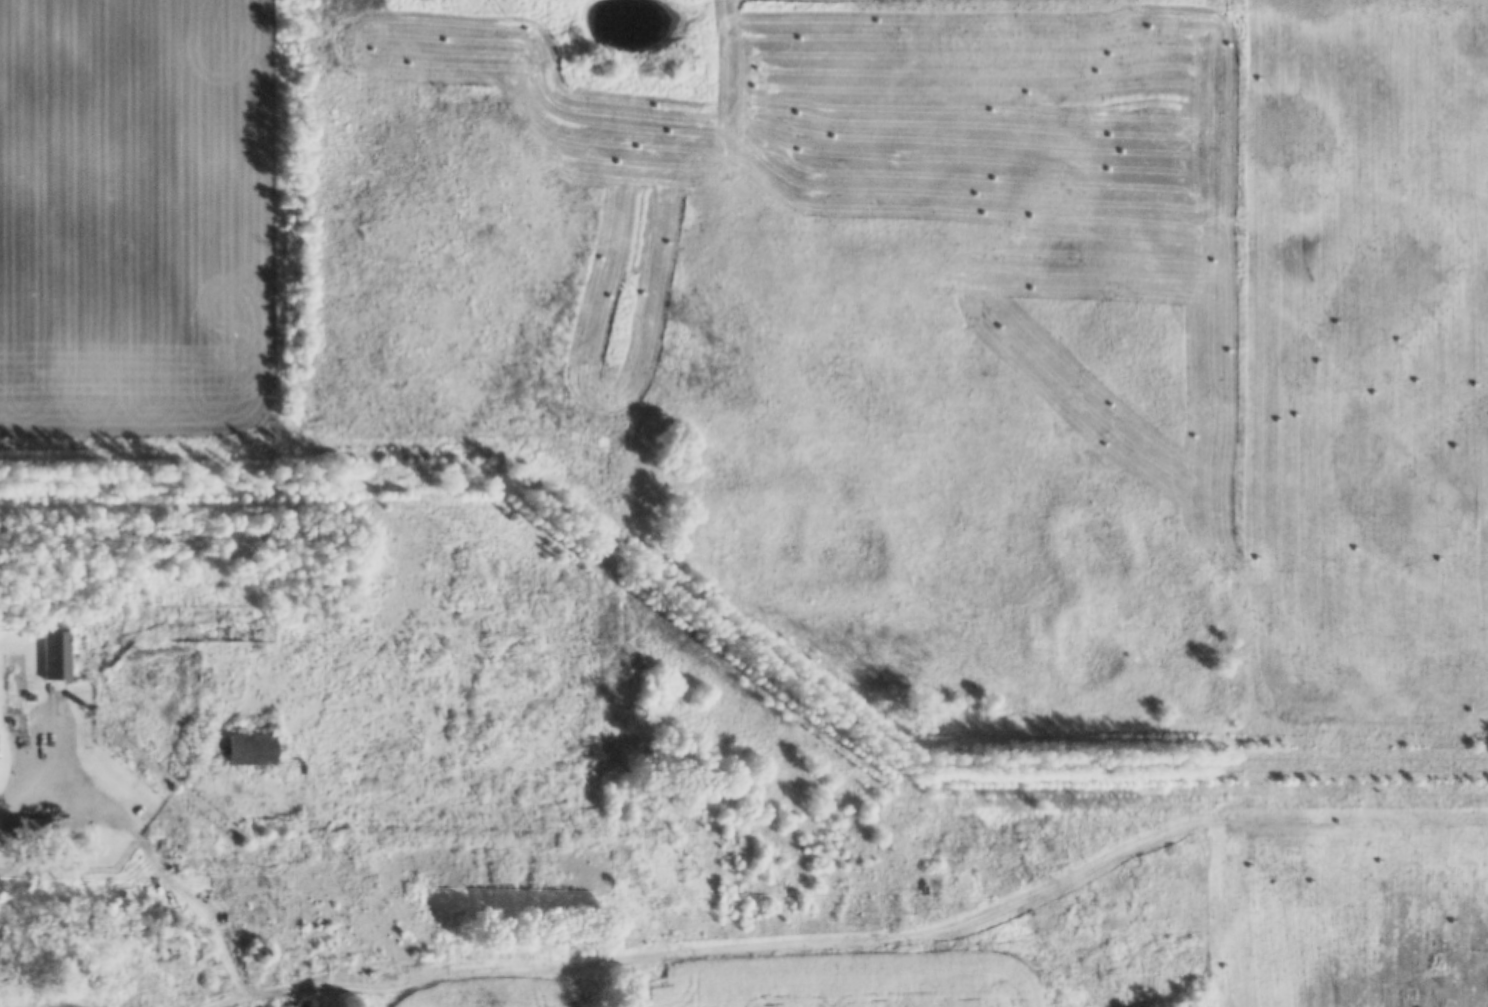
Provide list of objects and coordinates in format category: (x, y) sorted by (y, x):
building: (57, 664)
building: (30, 707)
building: (87, 718)
silo: (87, 718)
building: (250, 758)
road: (47, 769)
road: (45, 824)
building: (25, 826)
road: (190, 901)
building: (259, 962)
silo: (259, 962)
road: (571, 980)
building: (137, 988)

